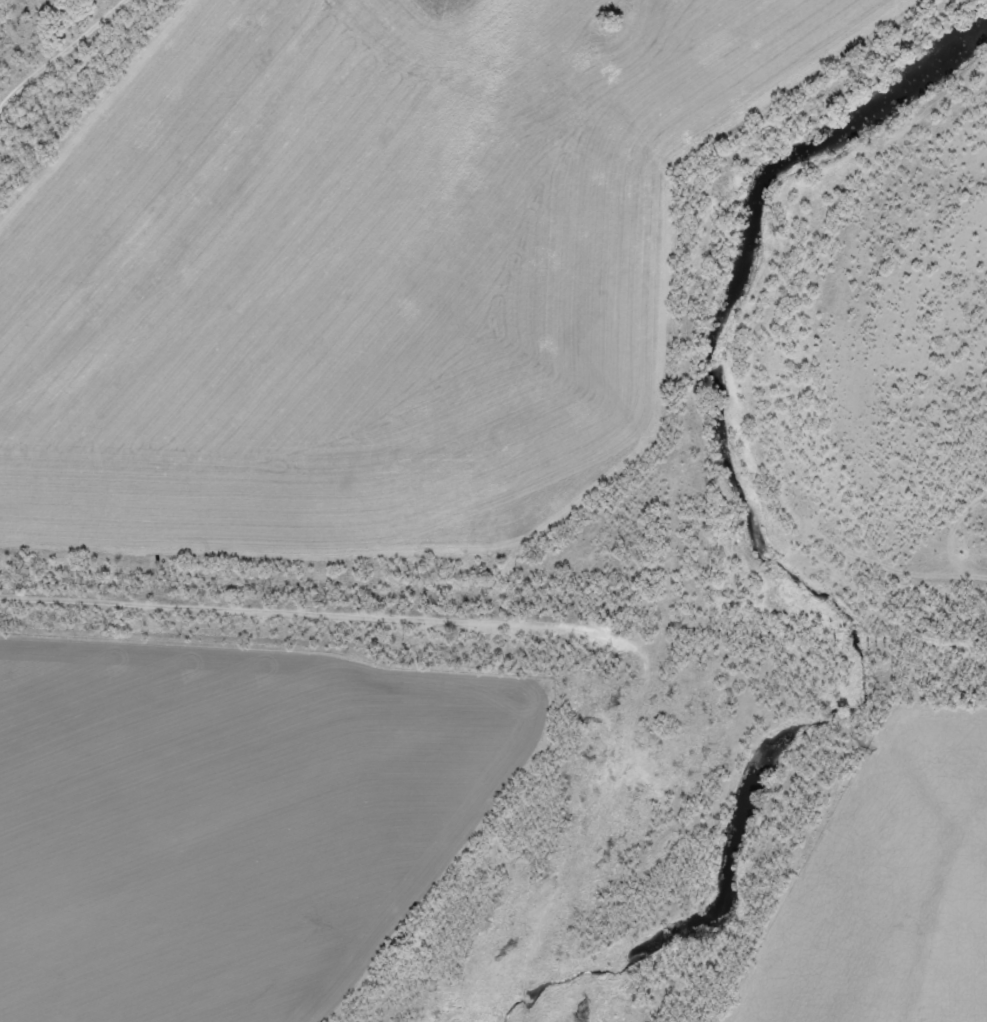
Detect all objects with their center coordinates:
road: (53, 55)
railway: (493, 620)

